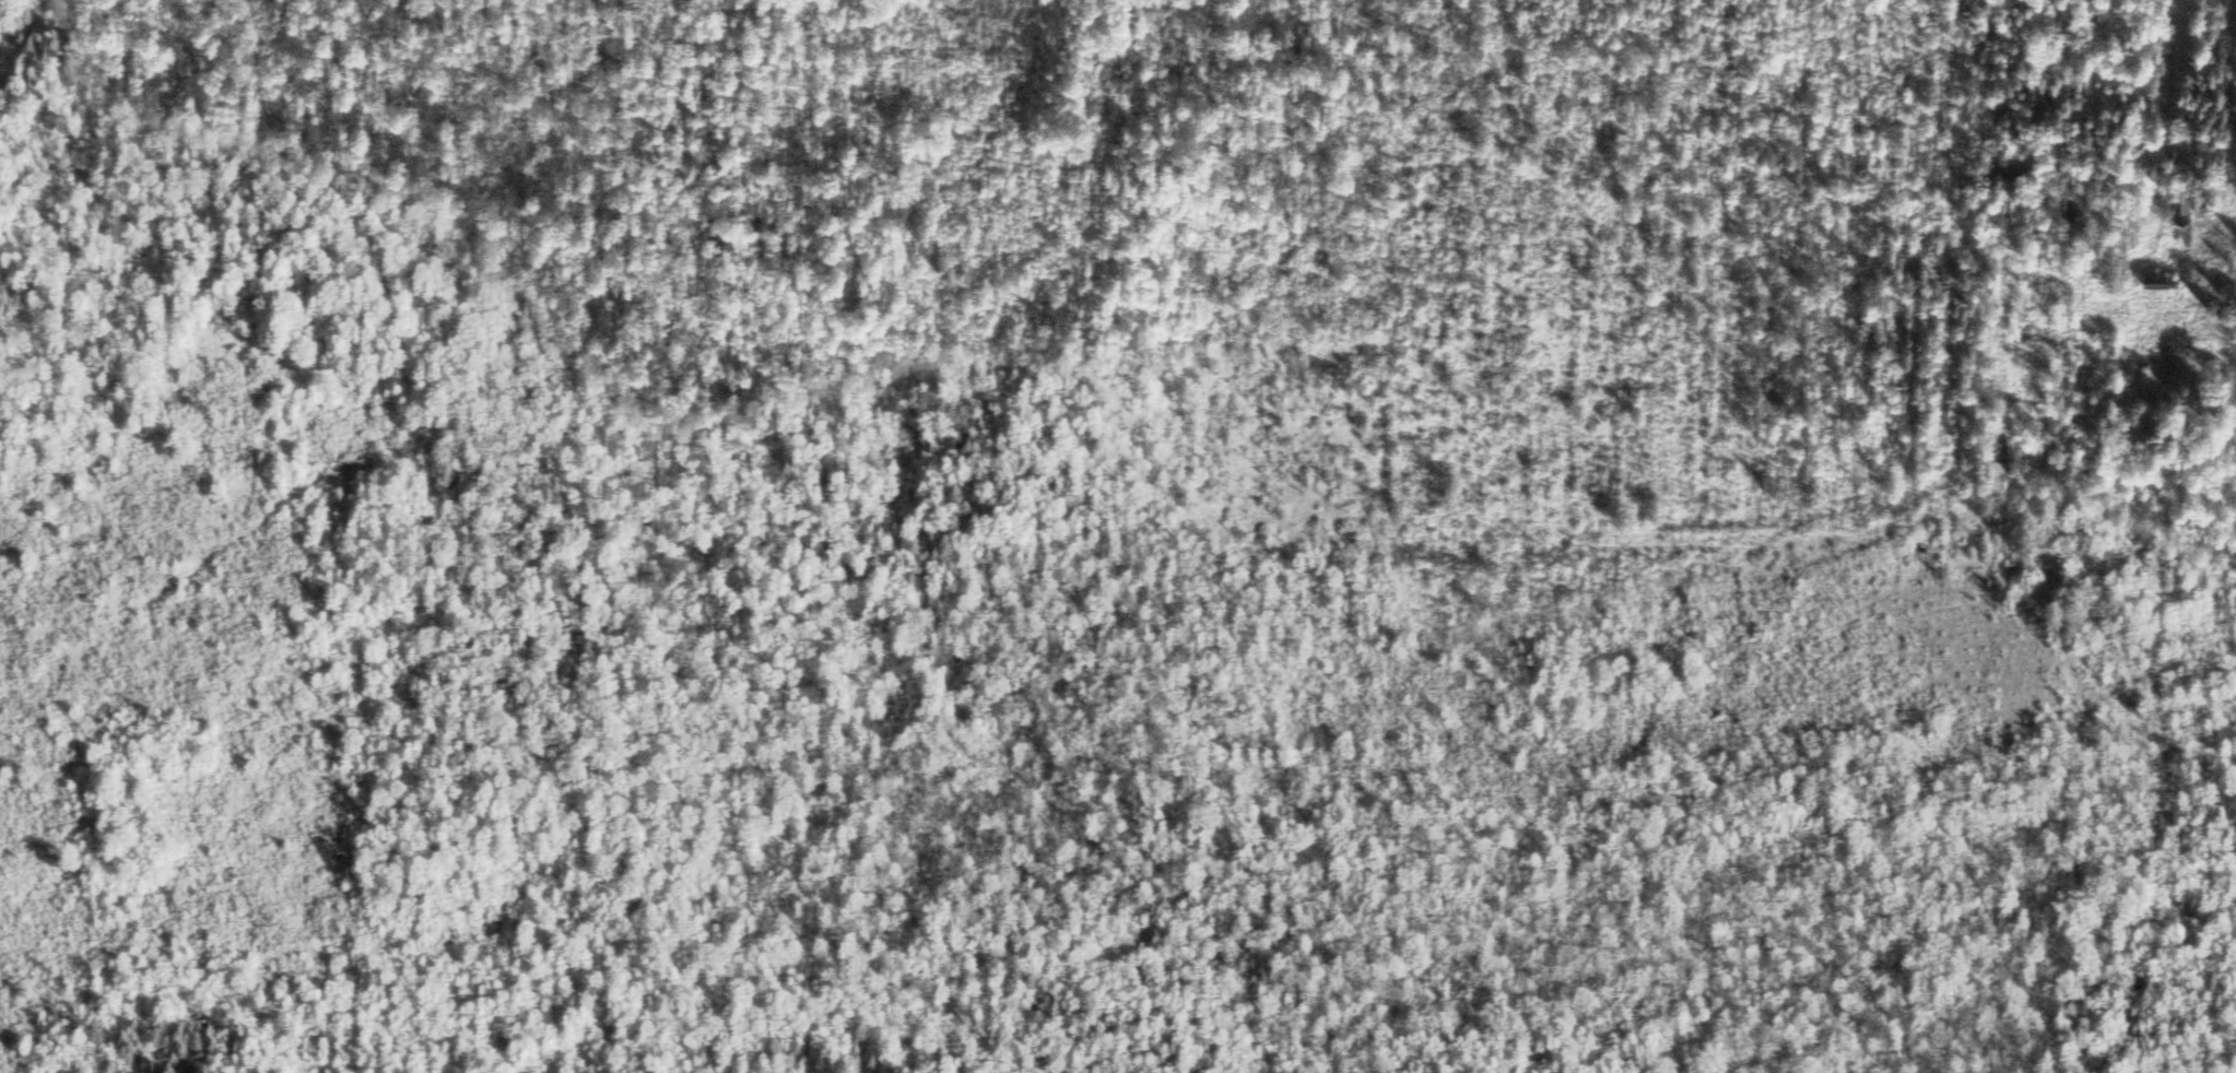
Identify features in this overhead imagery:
road: (2212, 95)

